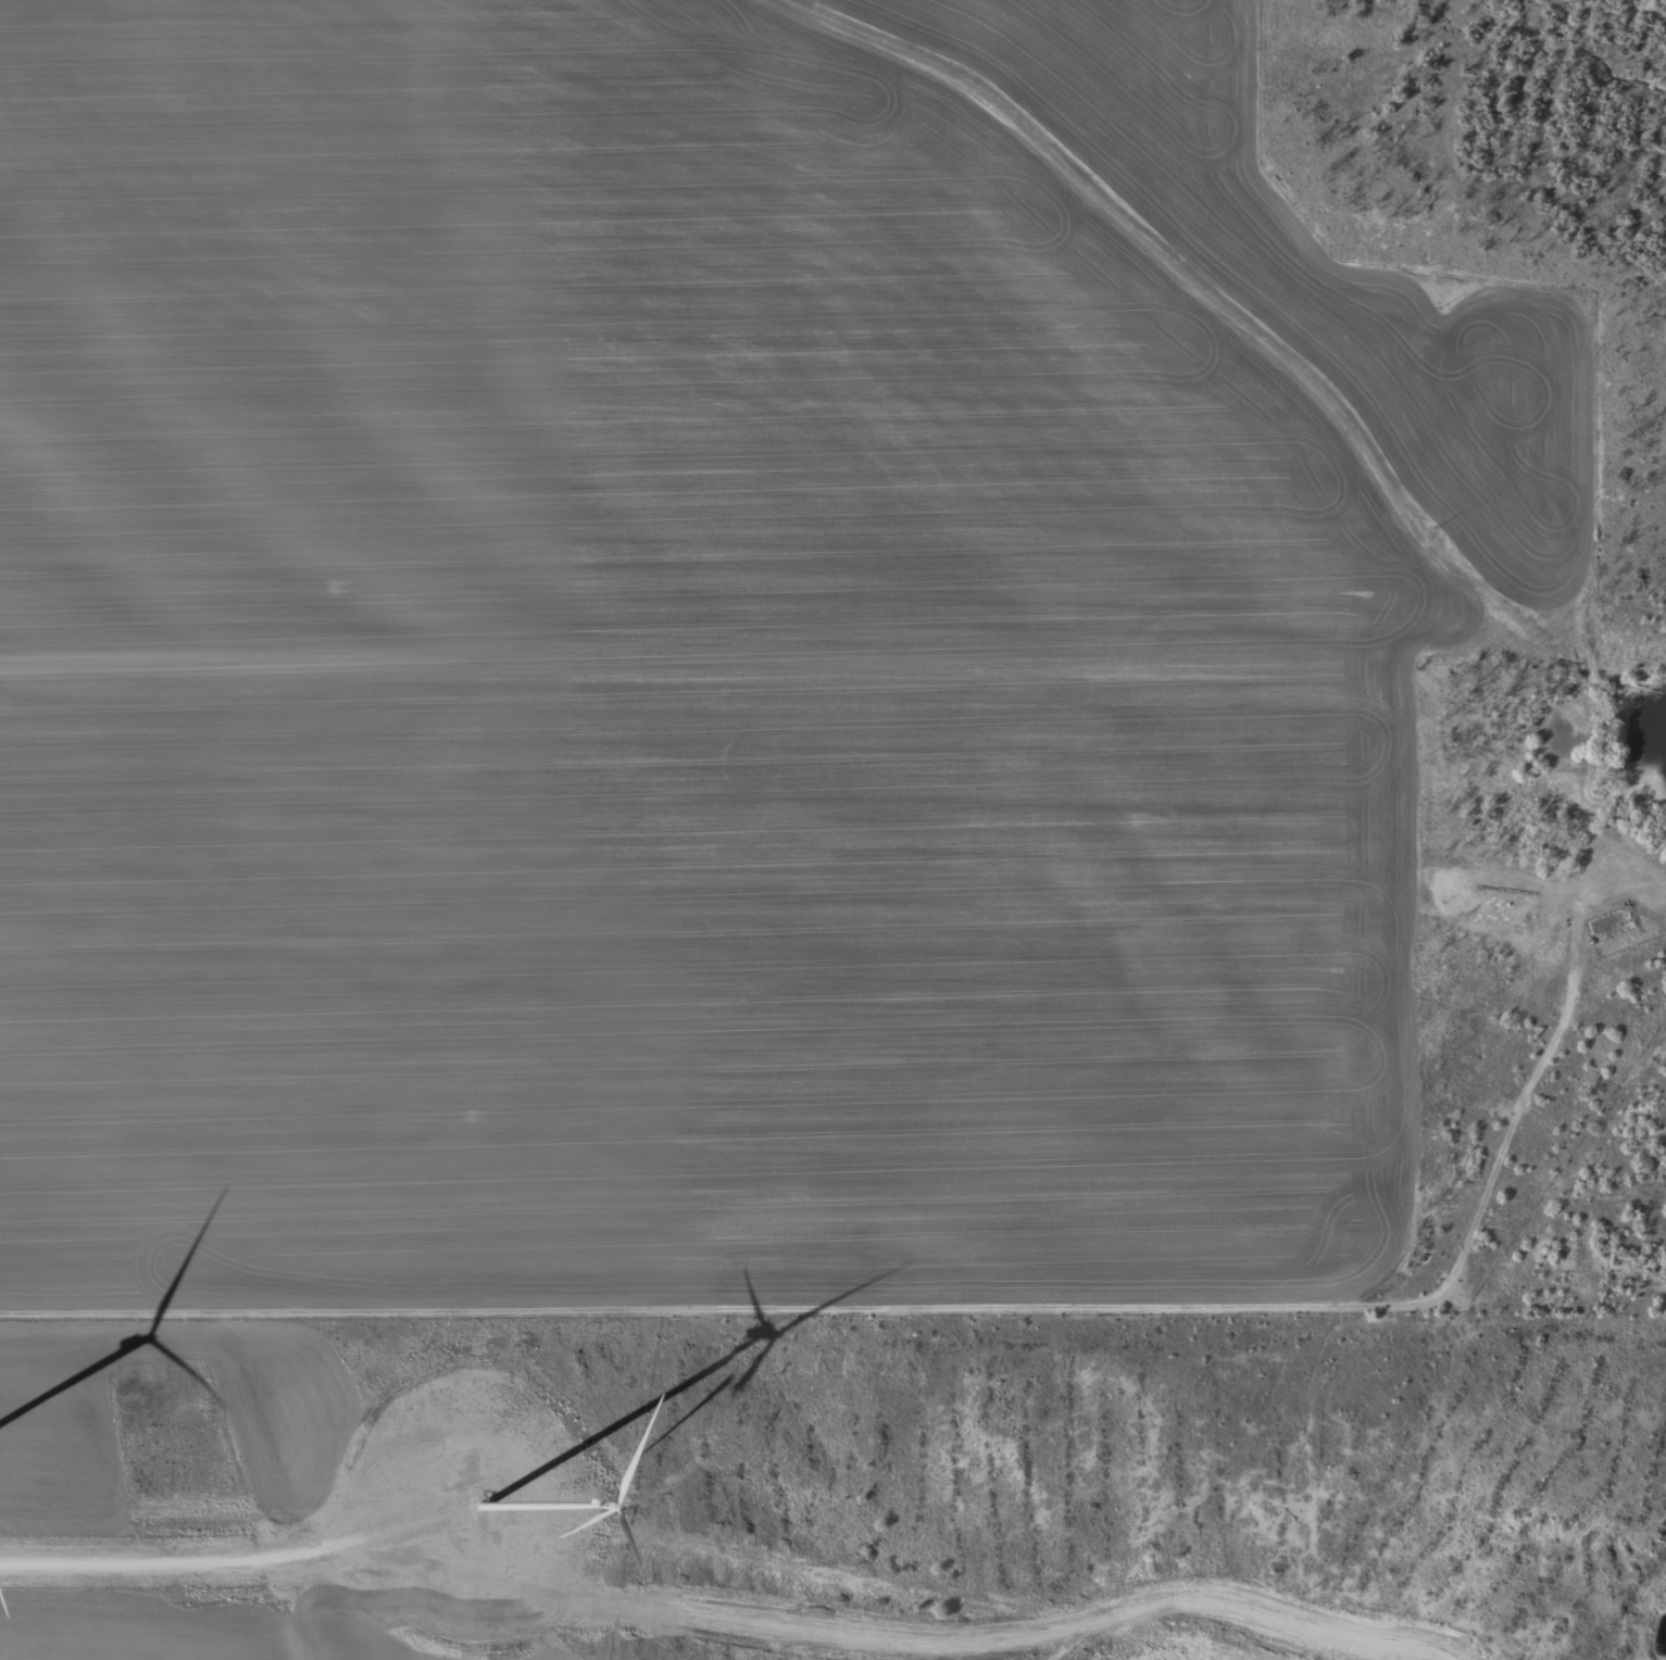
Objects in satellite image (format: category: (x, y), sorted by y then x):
road: (825, 1325)
wind turbine: (481, 1500)
road: (1226, 1657)

